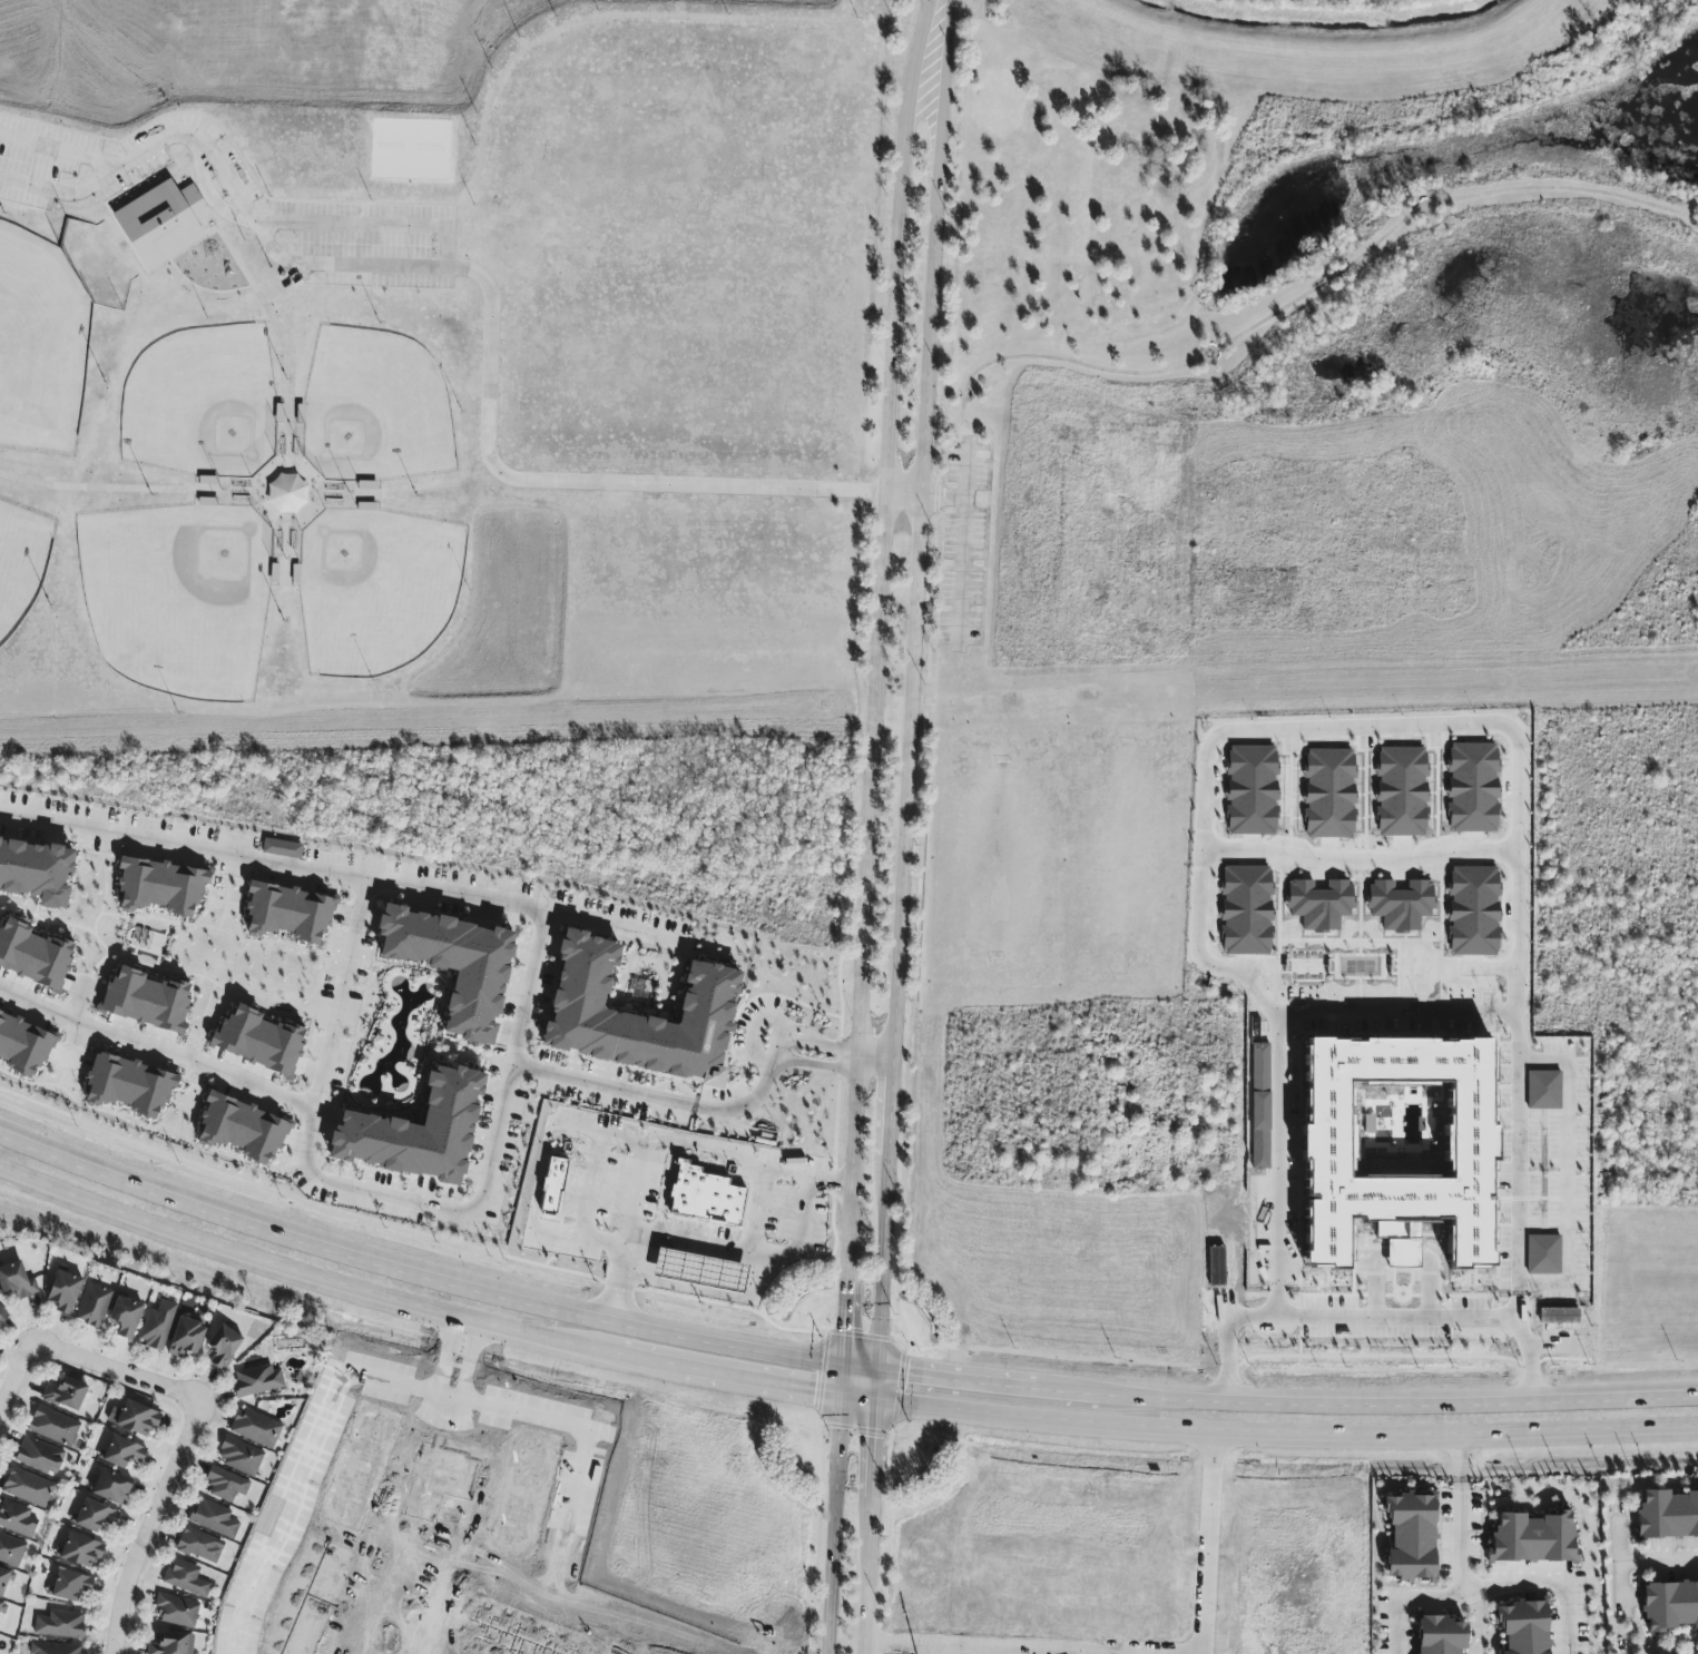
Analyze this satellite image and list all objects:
river: (1352, 28)
park: (321, 51)
road: (915, 68)
road: (941, 95)
road: (59, 150)
road: (229, 179)
road: (1511, 190)
road: (209, 195)
road: (461, 201)
road: (91, 210)
building: (161, 223)
road: (370, 225)
road: (157, 267)
road: (1329, 282)
park: (1318, 333)
road: (927, 342)
road: (1008, 358)
park: (430, 371)
road: (578, 482)
building: (286, 494)
road: (903, 494)
road: (943, 495)
road: (963, 543)
road: (916, 547)
parking lot: (965, 547)
road: (876, 682)
road: (1347, 730)
road: (902, 828)
building: (282, 848)
road: (1360, 854)
building: (36, 872)
building: (160, 886)
road: (502, 905)
building: (288, 913)
road: (617, 926)
road: (915, 952)
building: (33, 955)
building: (454, 965)
road: (340, 997)
building: (146, 1000)
building: (708, 1001)
road: (1398, 1014)
road: (754, 1025)
building: (258, 1041)
road: (816, 1044)
building: (22, 1046)
road: (785, 1047)
road: (850, 1056)
road: (874, 1059)
road: (814, 1064)
building: (129, 1085)
road: (891, 1109)
building: (1327, 1126)
building: (242, 1129)
building: (418, 1131)
road: (308, 1138)
road: (713, 1151)
road: (543, 1154)
road: (757, 1169)
road: (1566, 1173)
road: (808, 1179)
building: (552, 1188)
road: (638, 1188)
building: (705, 1197)
road: (587, 1211)
road: (799, 1230)
road: (559, 1233)
road: (303, 1240)
road: (727, 1251)
road: (846, 1252)
road: (884, 1263)
building: (1216, 1266)
road: (301, 1272)
road: (165, 1280)
building: (17, 1281)
building: (63, 1291)
road: (713, 1293)
building: (94, 1305)
building: (2, 1313)
building: (125, 1317)
road: (1372, 1320)
road: (843, 1321)
building: (157, 1326)
traffic signals: (843, 1327)
road: (664, 1336)
building: (186, 1338)
building: (223, 1346)
road: (777, 1355)
road: (445, 1357)
road: (657, 1361)
road: (469, 1362)
road: (861, 1368)
road: (112, 1371)
road: (13, 1374)
traffic signals: (907, 1374)
road: (968, 1378)
building: (256, 1380)
road: (840, 1380)
road: (772, 1382)
road: (881, 1386)
traffic signals: (814, 1390)
road: (1103, 1392)
building: (66, 1394)
road: (860, 1398)
road: (449, 1399)
road: (1424, 1401)
building: (135, 1418)
building: (55, 1427)
building: (255, 1428)
road: (1288, 1431)
road: (876, 1439)
traffic signals: (877, 1439)
building: (122, 1453)
building: (39, 1456)
building: (239, 1457)
building: (225, 1484)
building: (27, 1487)
building: (111, 1487)
road: (1462, 1514)
building: (1667, 1514)
building: (94, 1516)
building: (214, 1518)
building: (17, 1519)
road: (832, 1524)
road: (146, 1525)
building: (1410, 1538)
building: (1532, 1538)
building: (199, 1545)
building: (11, 1550)
building: (79, 1550)
road: (1619, 1558)
road: (1659, 1559)
road: (870, 1566)
building: (185, 1578)
building: (4, 1579)
building: (69, 1585)
road: (1518, 1587)
building: (1669, 1605)
building: (1, 1607)
building: (176, 1611)
building: (60, 1624)
road: (1402, 1627)
building: (1523, 1627)
building: (1440, 1635)
building: (171, 1644)
building: (56, 1648)

